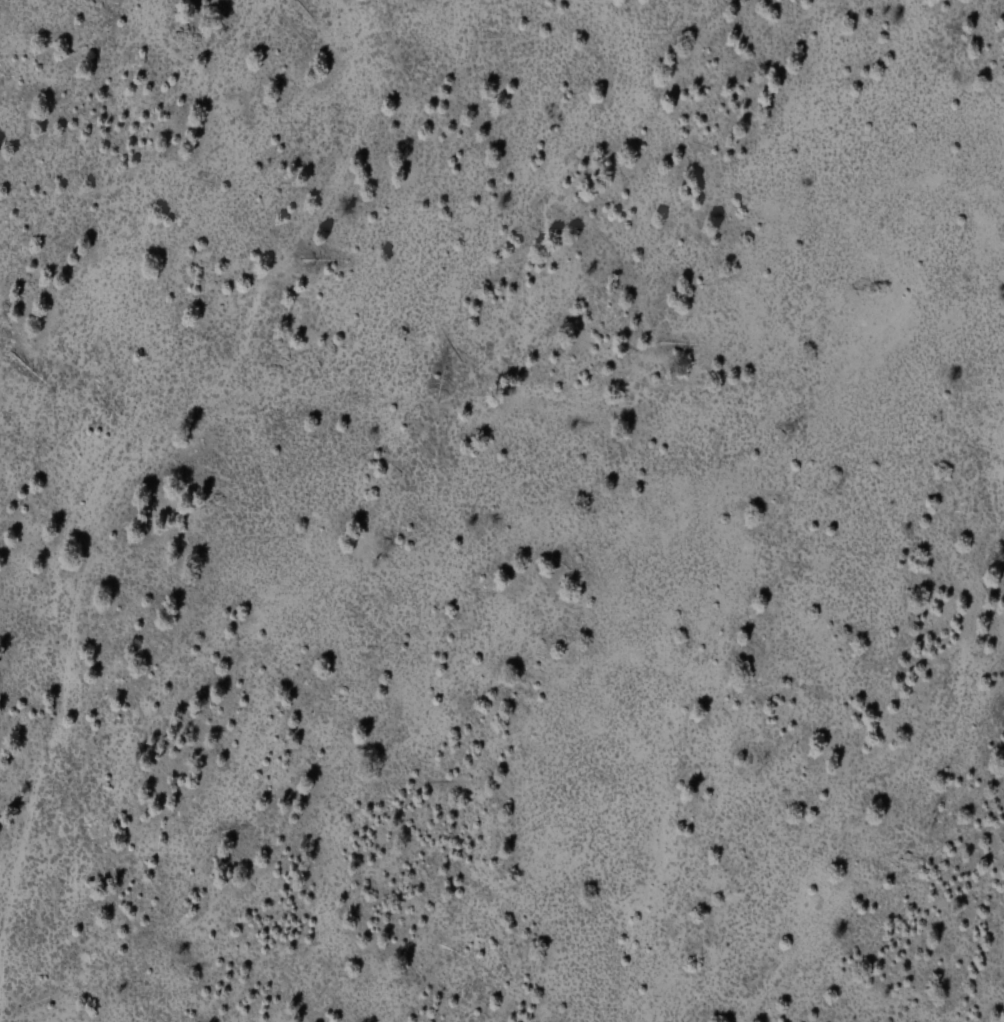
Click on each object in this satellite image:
road: (141, 482)

